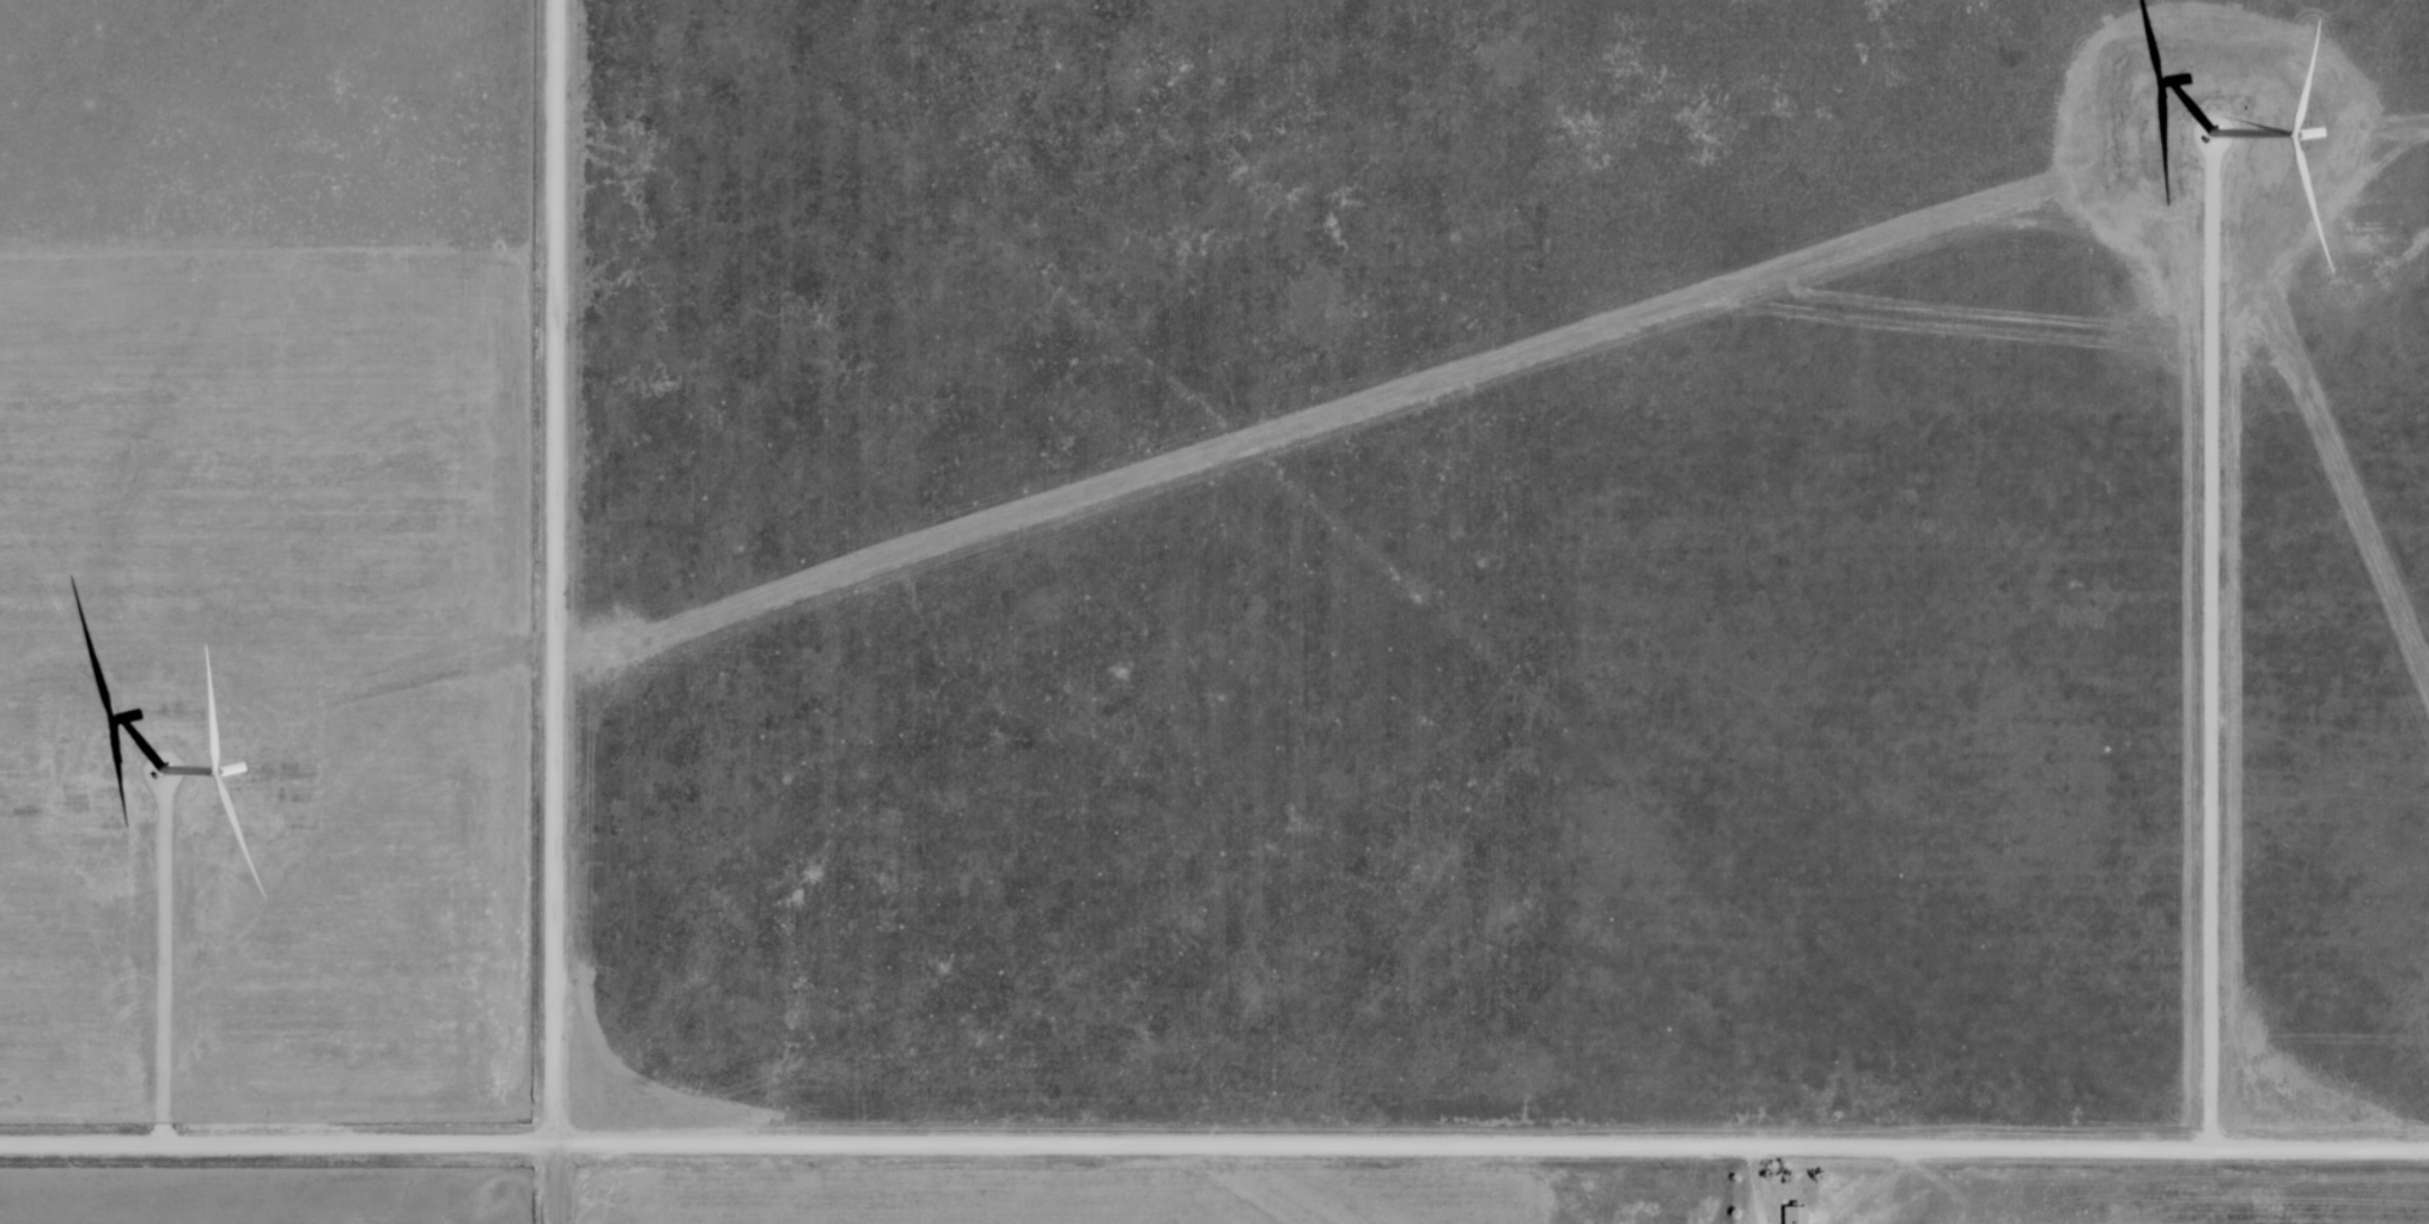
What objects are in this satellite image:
wind turbine: (2211, 122)
road: (556, 611)
road: (2211, 654)
wind turbine: (164, 763)
road: (1213, 1143)

